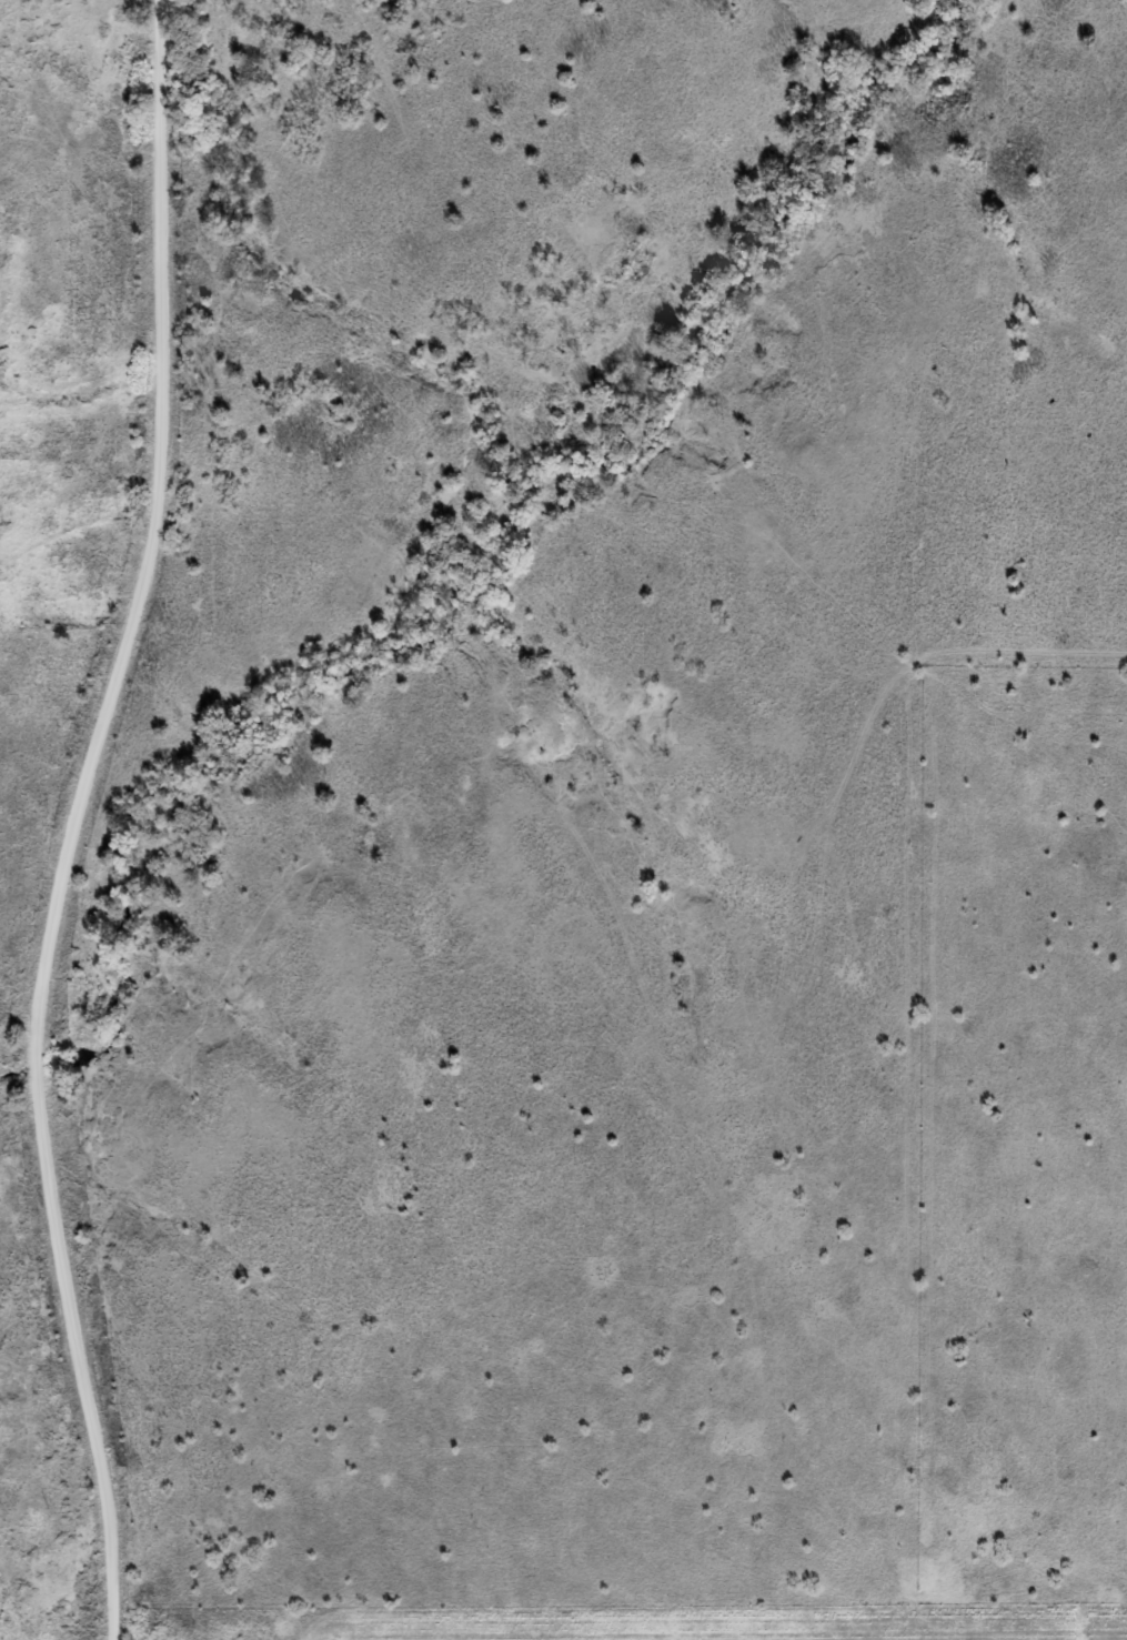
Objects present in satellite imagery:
road: (83, 819)

